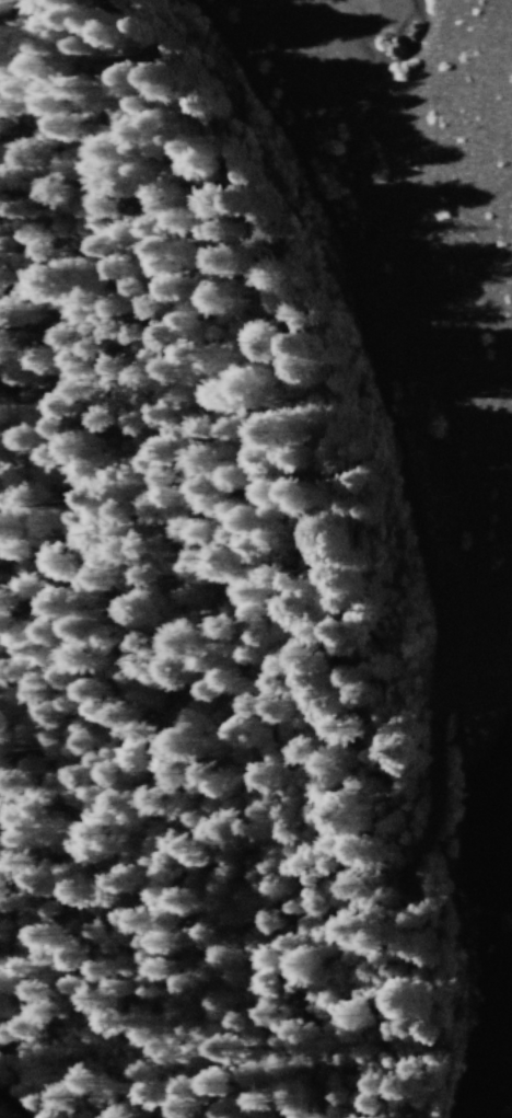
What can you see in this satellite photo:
road: (402, 897)
road: (0, 1117)

